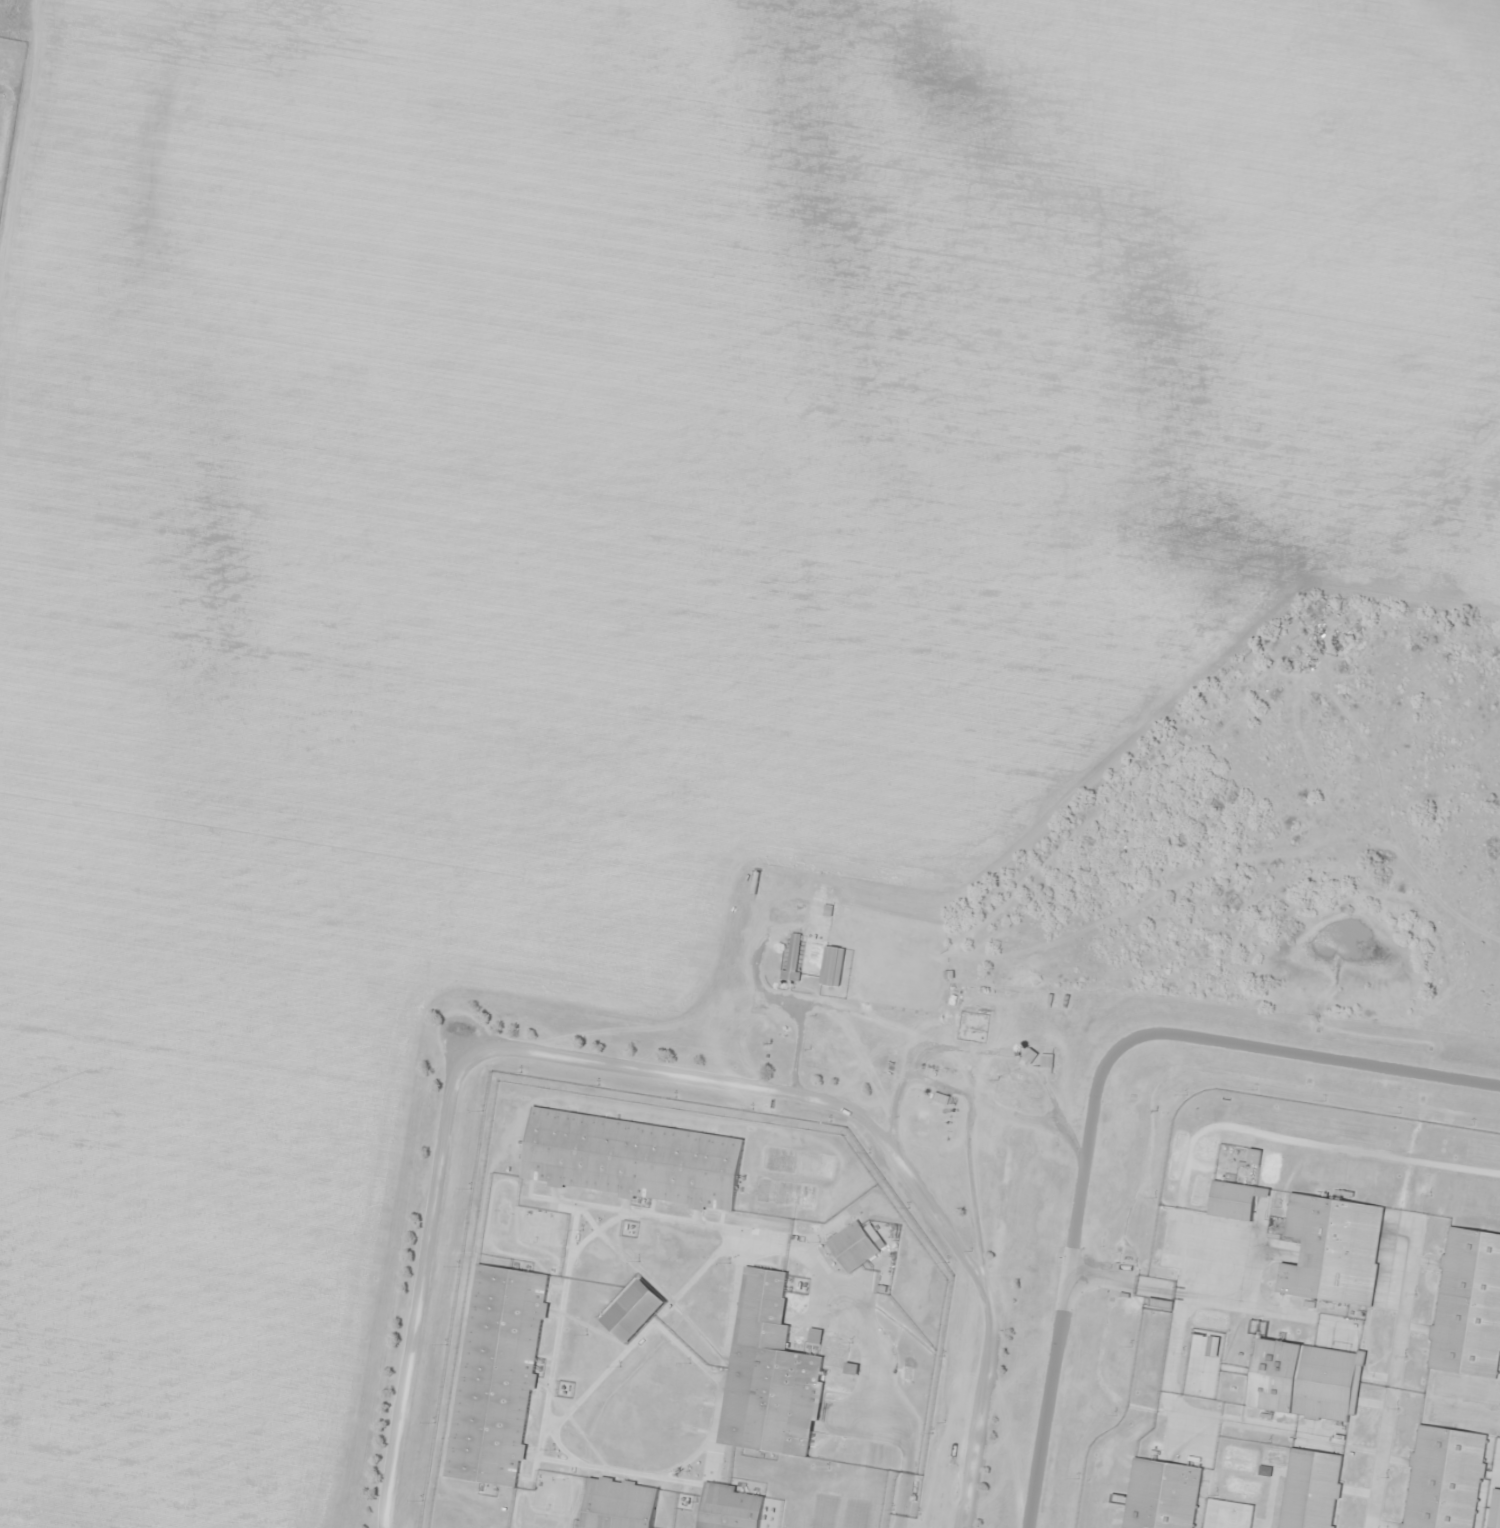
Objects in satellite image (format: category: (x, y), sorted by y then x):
building: (789, 958)
building: (829, 966)
building: (1028, 1055)
building: (1044, 1061)
road: (647, 1074)
road: (1092, 1089)
building: (938, 1098)
building: (629, 1159)
building: (1233, 1199)
building: (850, 1246)
building: (1330, 1249)
building: (1467, 1304)
building: (630, 1310)
building: (1210, 1344)
building: (766, 1373)
building: (494, 1374)
building: (1302, 1379)
building: (1442, 1478)
building: (1308, 1489)
building: (1158, 1495)
building: (615, 1504)
building: (726, 1507)

